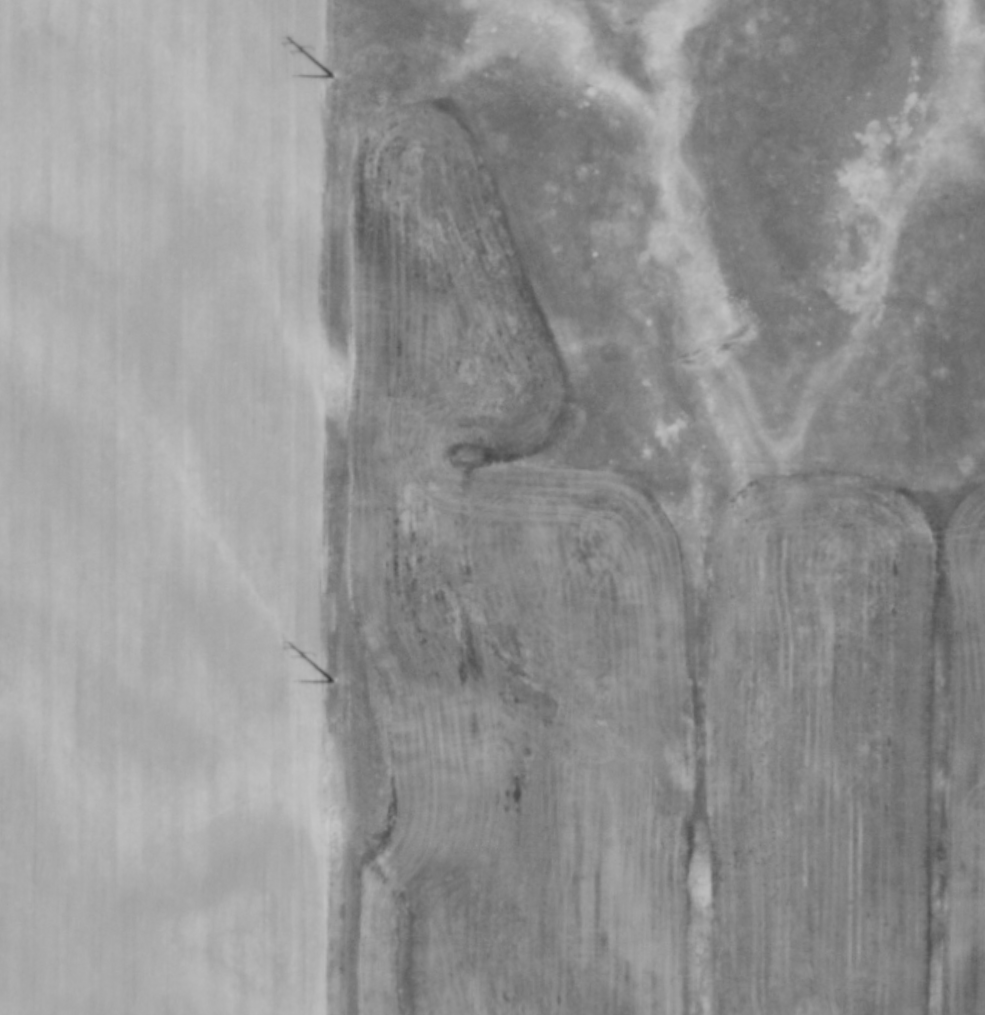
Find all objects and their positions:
power tower: (339, 68)
power tower: (336, 681)

